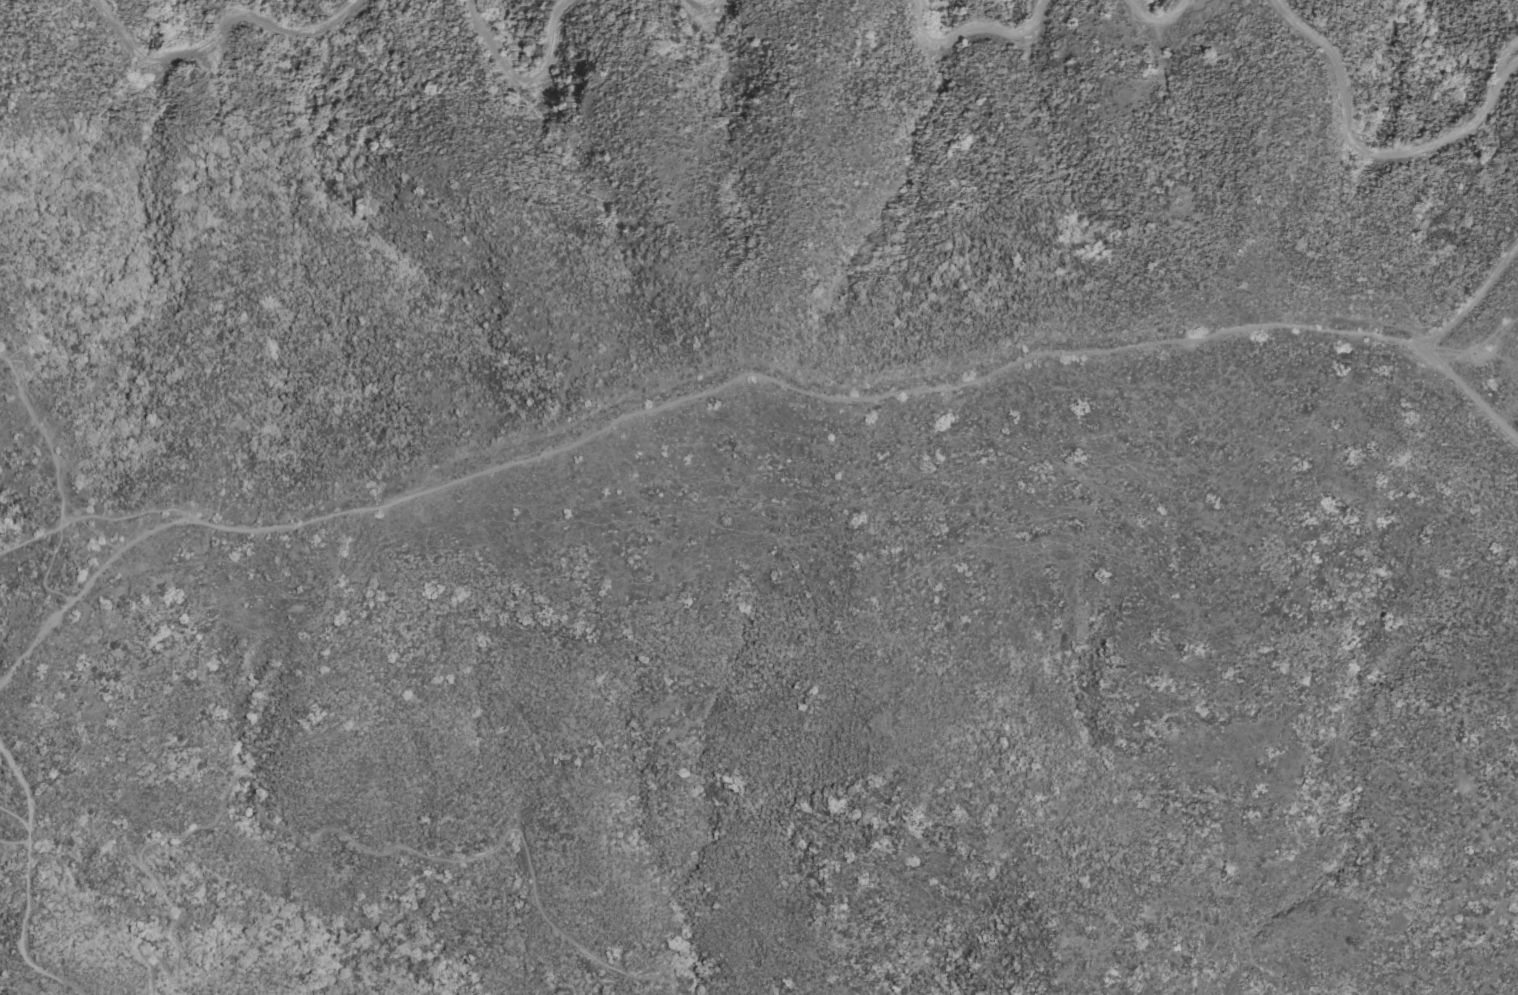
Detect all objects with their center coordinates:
road: (702, 10)
road: (1158, 21)
road: (972, 29)
road: (218, 34)
road: (1504, 52)
road: (521, 80)
road: (1368, 156)
road: (1474, 298)
road: (1452, 348)
road: (1471, 394)
road: (681, 400)
road: (58, 486)
road: (114, 513)
road: (17, 815)
road: (13, 845)
road: (311, 847)
road: (27, 884)

